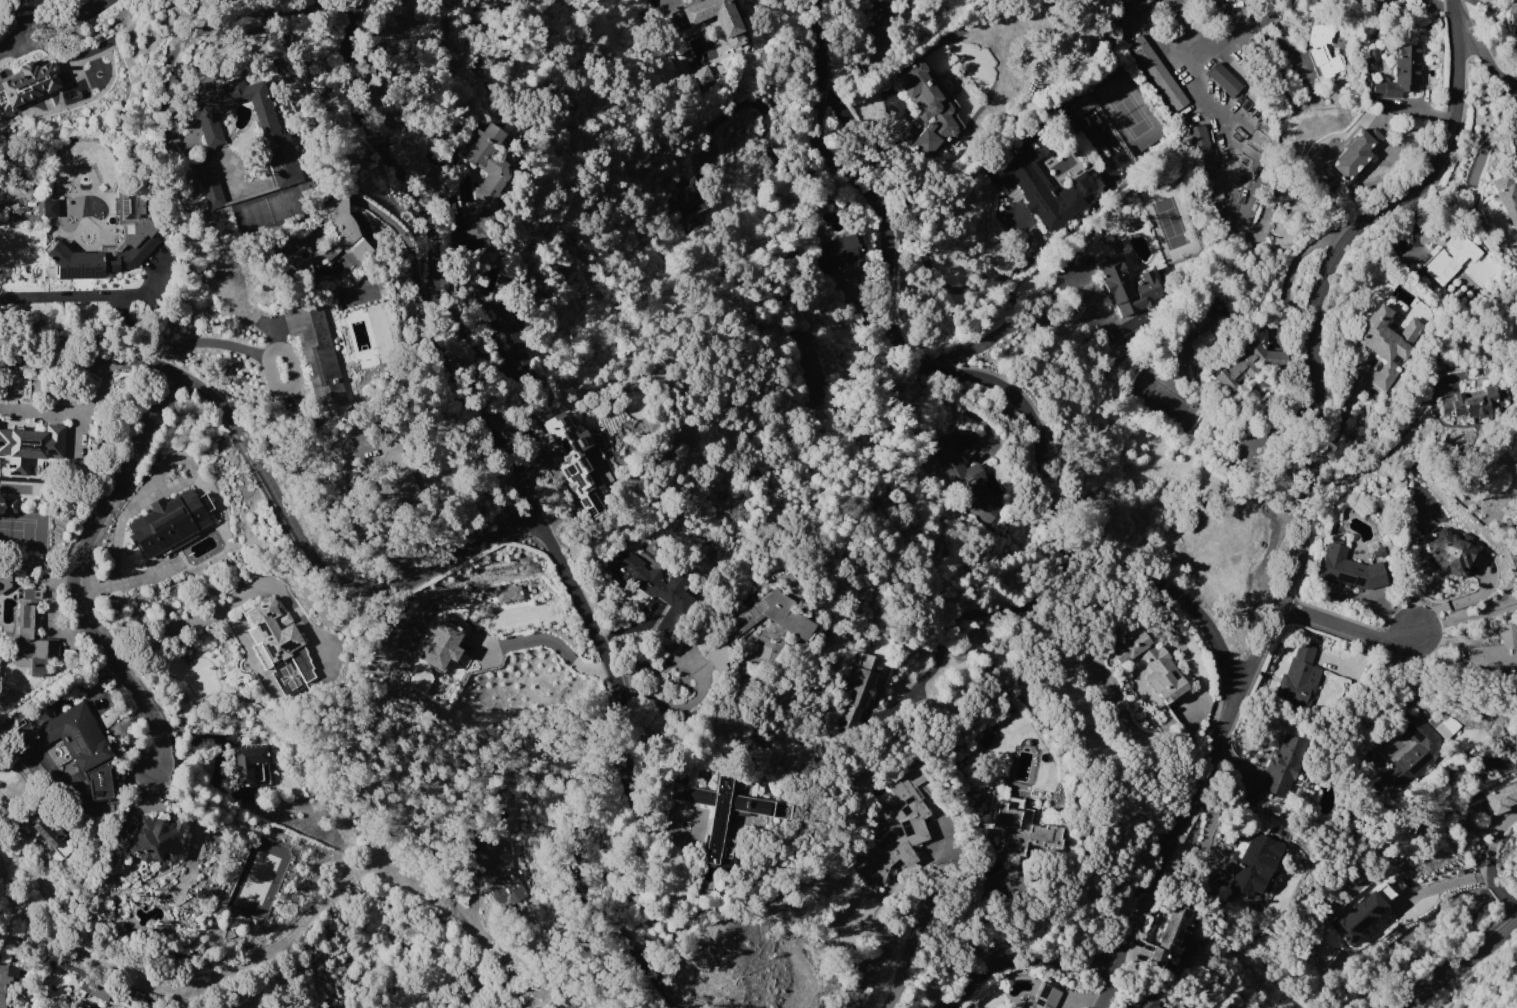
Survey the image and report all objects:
building: (1138, 3)
road: (1279, 5)
building: (1512, 13)
building: (717, 18)
road: (1226, 18)
building: (878, 25)
road: (1190, 25)
road: (1154, 27)
road: (55, 30)
road: (1231, 36)
building: (1321, 49)
building: (1370, 59)
road: (1486, 61)
building: (1157, 72)
building: (1401, 73)
building: (700, 76)
building: (1224, 80)
building: (27, 85)
road: (1511, 85)
road: (1213, 99)
building: (927, 109)
road: (763, 127)
building: (276, 143)
building: (1200, 148)
building: (1356, 153)
road: (1228, 158)
building: (485, 180)
building: (1043, 186)
building: (1211, 186)
building: (688, 200)
building: (50, 207)
building: (1507, 211)
building: (345, 226)
building: (840, 252)
building: (1452, 258)
building: (97, 259)
road: (435, 259)
road: (1289, 269)
building: (295, 271)
building: (1127, 283)
road: (970, 286)
road: (93, 296)
road: (1017, 320)
building: (508, 333)
building: (1387, 343)
building: (317, 348)
road: (263, 356)
building: (1250, 363)
road: (961, 373)
building: (1473, 402)
road: (1345, 408)
road: (1395, 442)
building: (30, 446)
building: (1246, 455)
building: (572, 460)
building: (397, 470)
building: (1490, 476)
building: (965, 481)
road: (272, 489)
building: (11, 505)
building: (167, 524)
road: (354, 527)
building: (1448, 552)
road: (1297, 562)
building: (1348, 569)
road: (82, 572)
building: (5, 581)
building: (652, 584)
building: (507, 593)
road: (1460, 600)
building: (773, 615)
building: (28, 616)
road: (1466, 619)
road: (981, 626)
road: (165, 628)
road: (1348, 630)
road: (549, 639)
building: (440, 645)
building: (278, 646)
building: (1496, 649)
building: (718, 656)
road: (658, 661)
building: (1149, 671)
building: (1300, 675)
road: (1423, 684)
building: (860, 689)
road: (674, 707)
building: (78, 737)
building: (1415, 752)
building: (1284, 765)
building: (251, 766)
road: (612, 771)
building: (1385, 786)
road: (150, 791)
building: (1501, 797)
building: (722, 820)
building: (901, 827)
building: (1023, 827)
building: (51, 835)
building: (157, 838)
road: (1491, 858)
building: (1254, 862)
building: (502, 875)
building: (1383, 891)
road: (930, 896)
building: (1358, 917)
road: (300, 930)
building: (1171, 940)
road: (1457, 964)
road: (1117, 978)
building: (10, 981)
building: (96, 987)
building: (1043, 998)
building: (1149, 1002)
building: (77, 1006)

